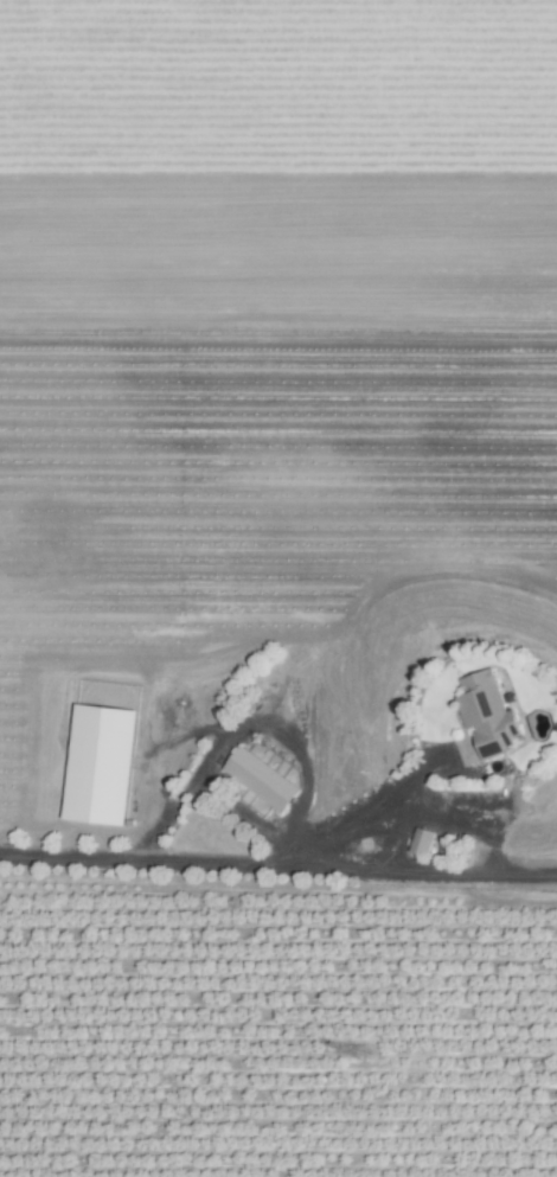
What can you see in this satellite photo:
building: (487, 716)
building: (101, 767)
building: (261, 781)
road: (376, 801)
building: (421, 845)
road: (278, 857)
power tower: (364, 1056)

